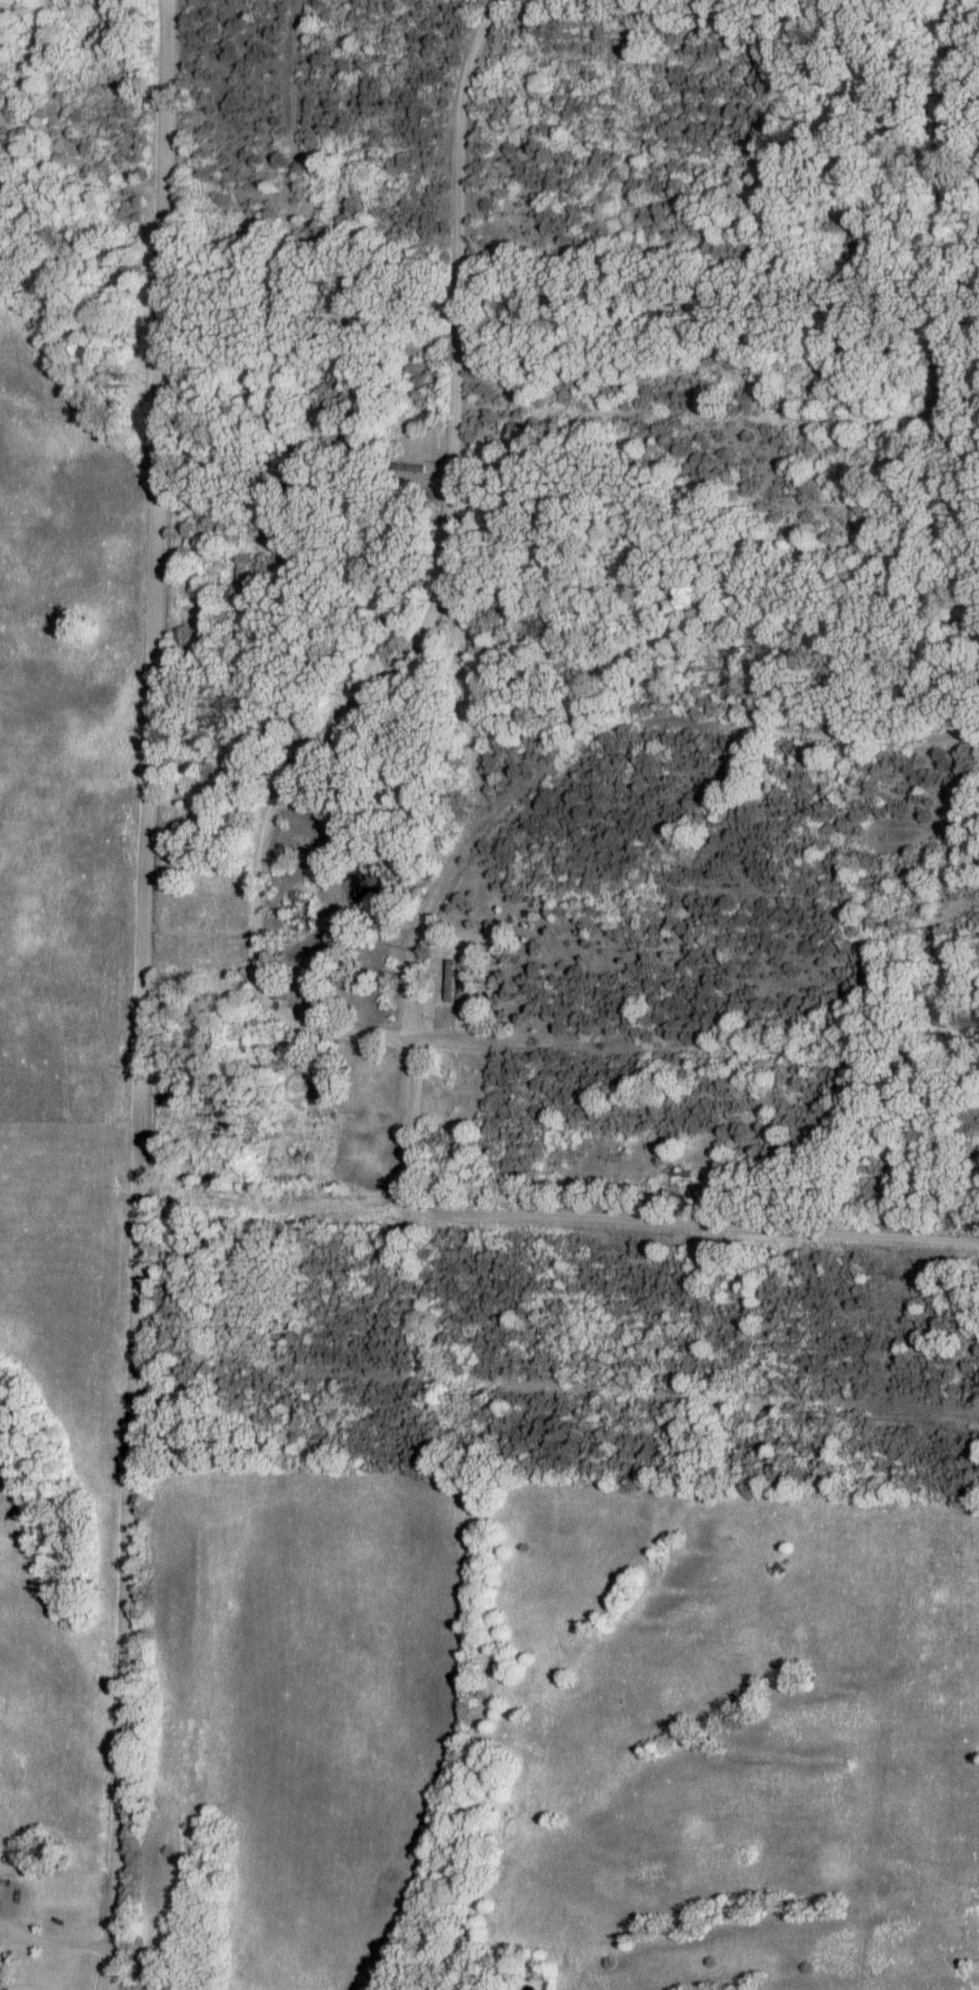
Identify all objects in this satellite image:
road: (293, 98)
road: (80, 186)
road: (937, 309)
road: (291, 314)
road: (646, 725)
road: (298, 763)
building: (455, 981)
road: (144, 995)
road: (411, 1113)
road: (693, 1225)
road: (610, 1395)
building: (3, 1888)
road: (56, 1932)
building: (0, 1949)

